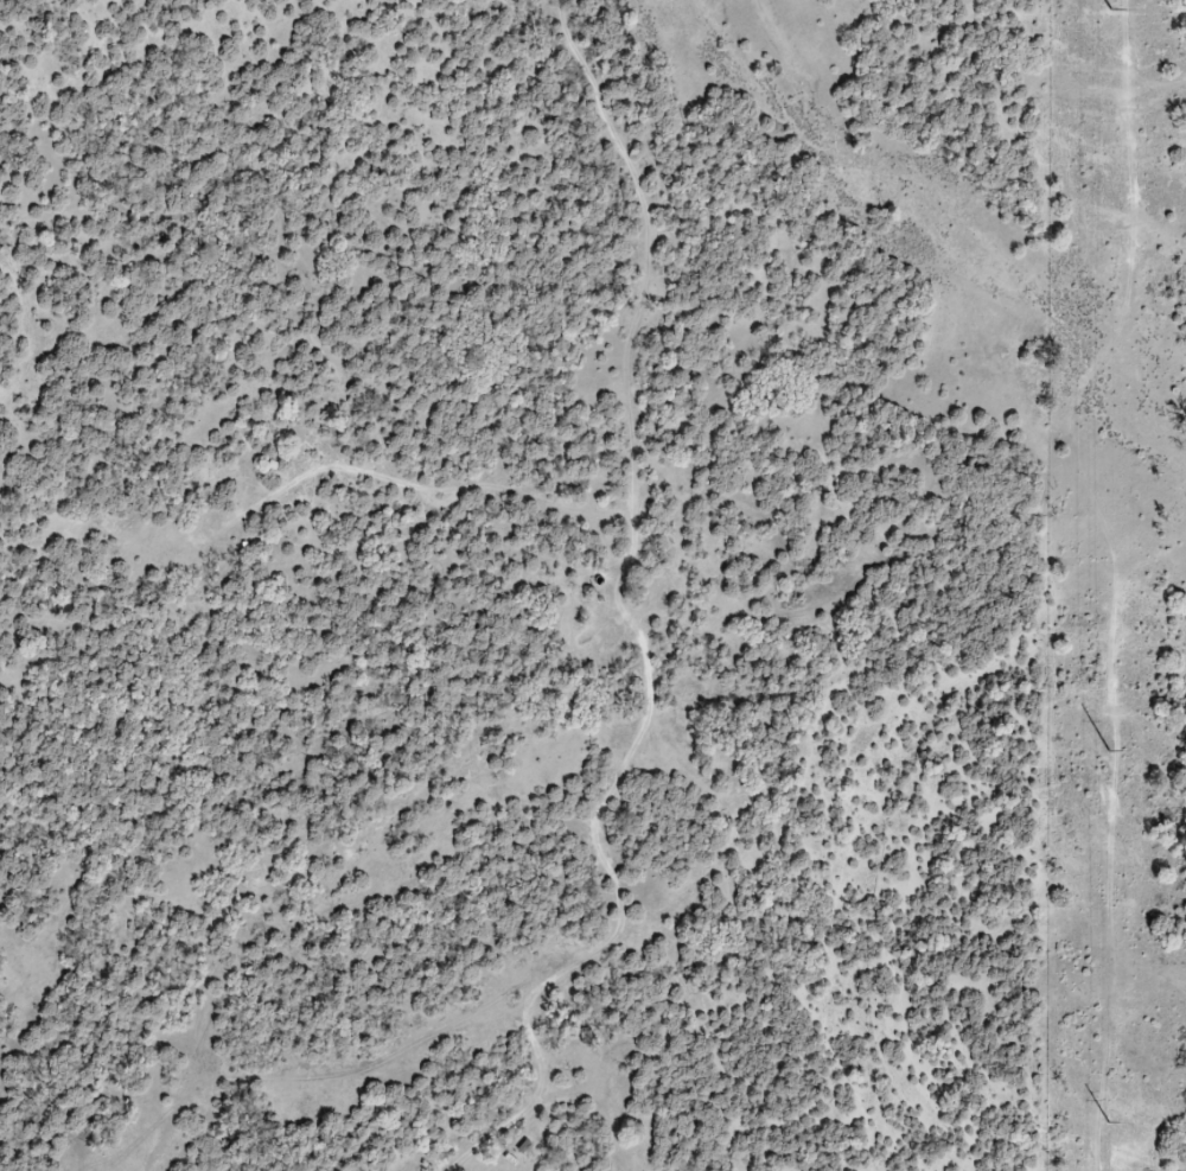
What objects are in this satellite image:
power tower: (1108, 8)
power tower: (1110, 751)
power tower: (1108, 1121)

